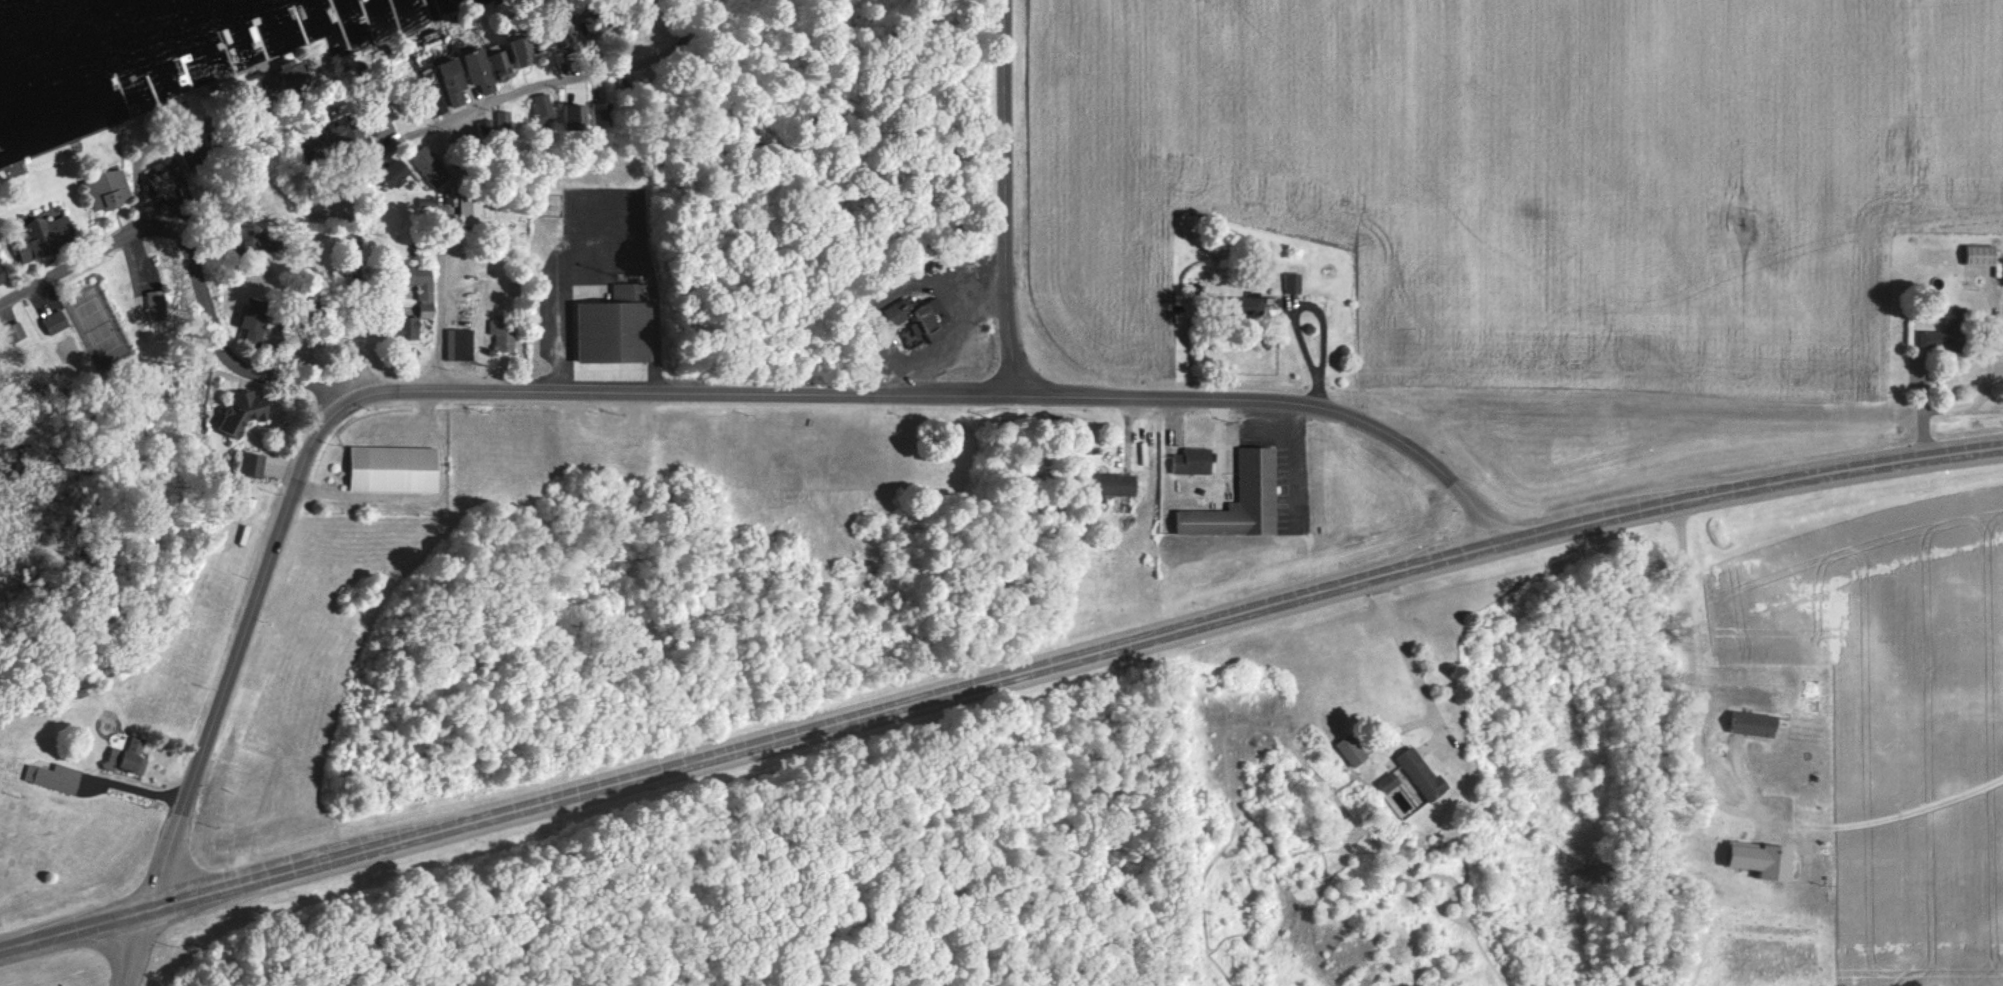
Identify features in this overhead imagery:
building: (591, 24)
building: (521, 51)
building: (499, 62)
building: (478, 70)
building: (291, 73)
building: (451, 80)
building: (435, 104)
building: (541, 108)
building: (597, 113)
building: (574, 116)
building: (503, 119)
road: (434, 121)
building: (380, 125)
building: (485, 131)
building: (344, 132)
building: (436, 160)
building: (394, 172)
building: (107, 189)
road: (141, 193)
road: (1007, 196)
building: (469, 212)
building: (46, 236)
road: (605, 245)
building: (1980, 254)
road: (193, 266)
building: (2, 276)
building: (418, 281)
building: (1290, 283)
building: (157, 304)
building: (1248, 305)
building: (425, 310)
building: (897, 311)
building: (253, 319)
building: (931, 319)
road: (437, 321)
building: (54, 322)
building: (407, 327)
building: (615, 327)
building: (13, 332)
building: (1943, 332)
building: (501, 334)
building: (458, 344)
road: (360, 385)
road: (1283, 399)
road: (1917, 404)
building: (243, 411)
building: (1191, 461)
building: (250, 463)
road: (1295, 463)
building: (393, 468)
building: (1113, 484)
building: (1240, 500)
road: (1407, 655)
road: (1689, 674)
road: (997, 677)
building: (1753, 724)
building: (1350, 750)
building: (126, 757)
building: (1420, 774)
building: (53, 777)
building: (1386, 782)
building: (1762, 860)

